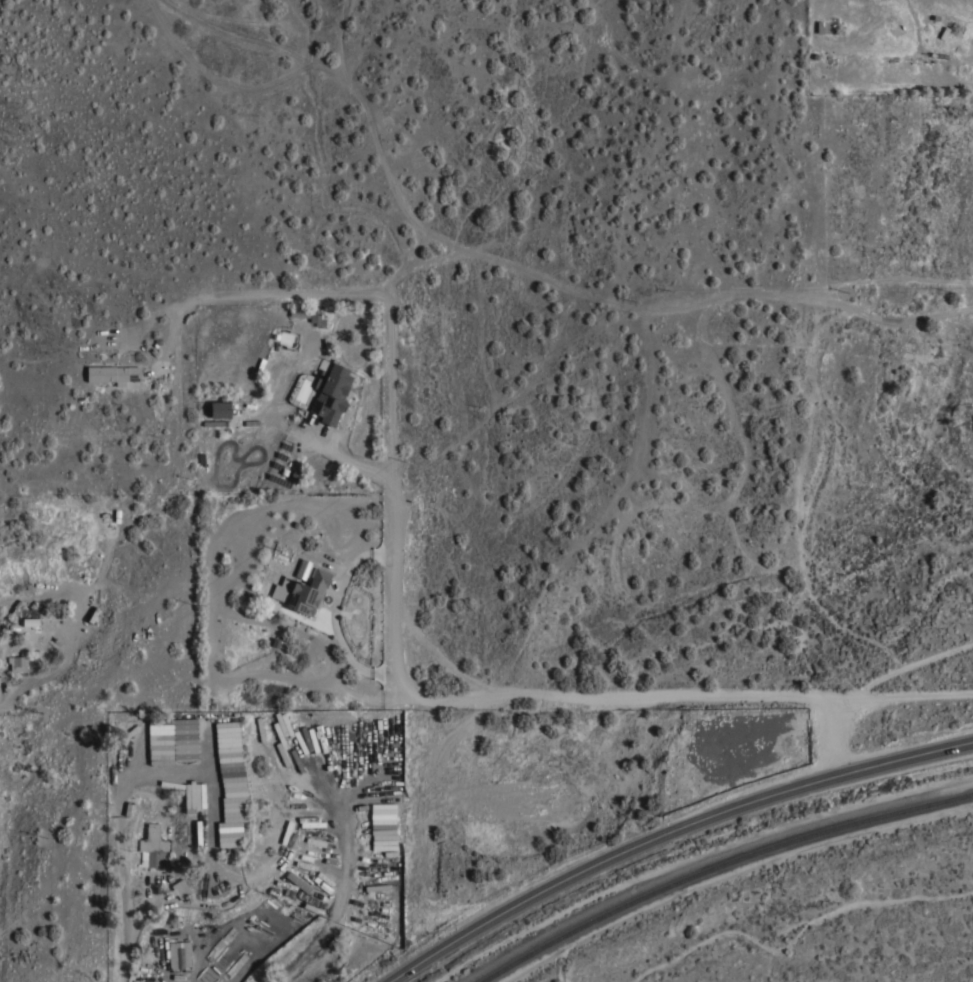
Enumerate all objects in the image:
road: (354, 292)
road: (218, 298)
road: (671, 309)
building: (304, 312)
building: (113, 374)
building: (331, 393)
building: (220, 409)
road: (743, 445)
road: (352, 462)
road: (395, 484)
road: (801, 555)
building: (302, 570)
building: (302, 591)
road: (335, 611)
building: (31, 622)
road: (439, 659)
building: (18, 662)
road: (909, 668)
road: (54, 675)
road: (675, 696)
building: (184, 731)
building: (182, 759)
building: (383, 827)
road: (666, 829)
building: (155, 846)
railway: (720, 868)
building: (181, 888)
road: (122, 954)
building: (180, 954)

